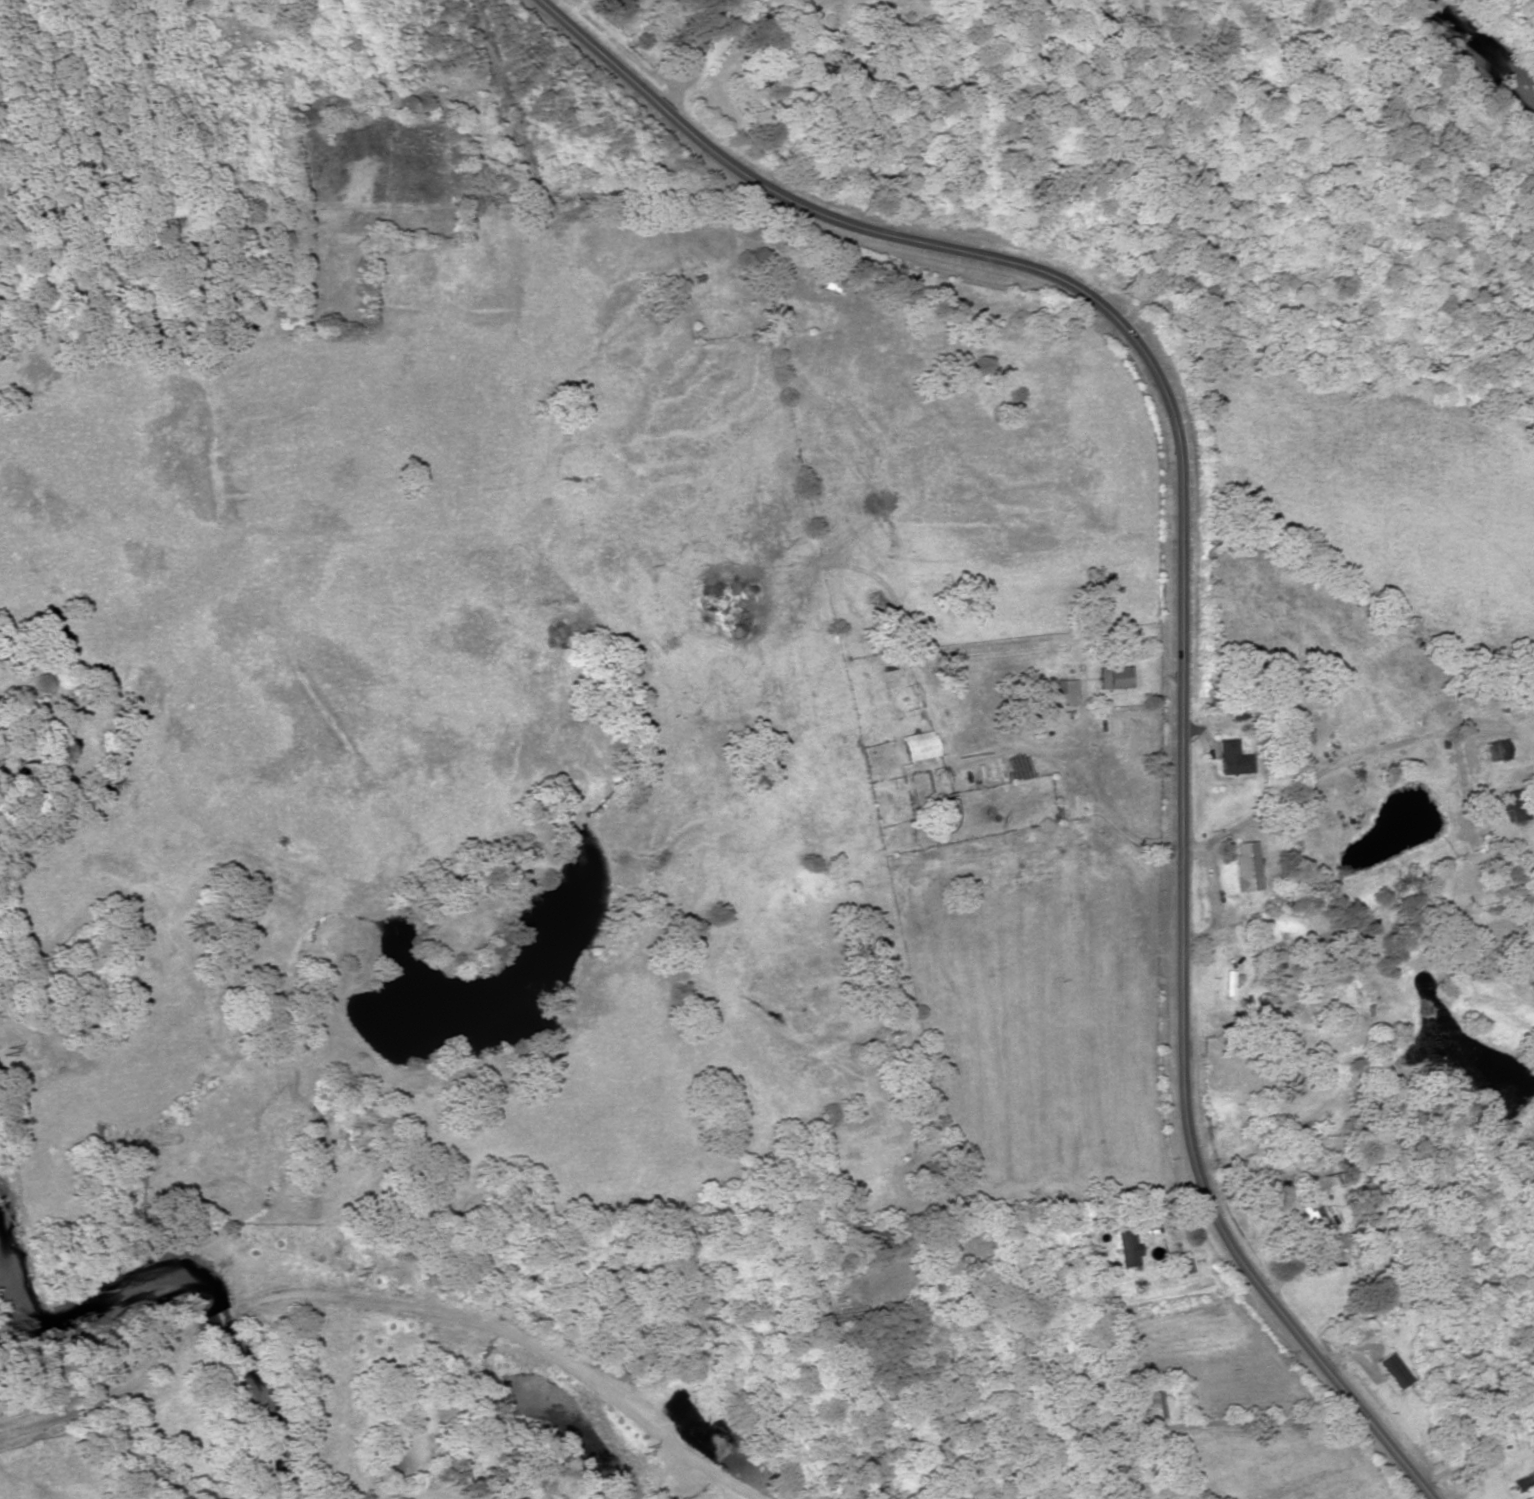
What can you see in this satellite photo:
building: (687, 57)
building: (828, 282)
building: (728, 289)
road: (1182, 608)
building: (1112, 678)
building: (1065, 691)
building: (1237, 709)
building: (917, 746)
building: (1493, 751)
building: (1231, 759)
building: (1510, 805)
building: (1243, 866)
building: (1226, 988)
building: (1314, 1226)
building: (1125, 1263)
building: (1389, 1371)
building: (1150, 1405)
building: (1517, 1483)

